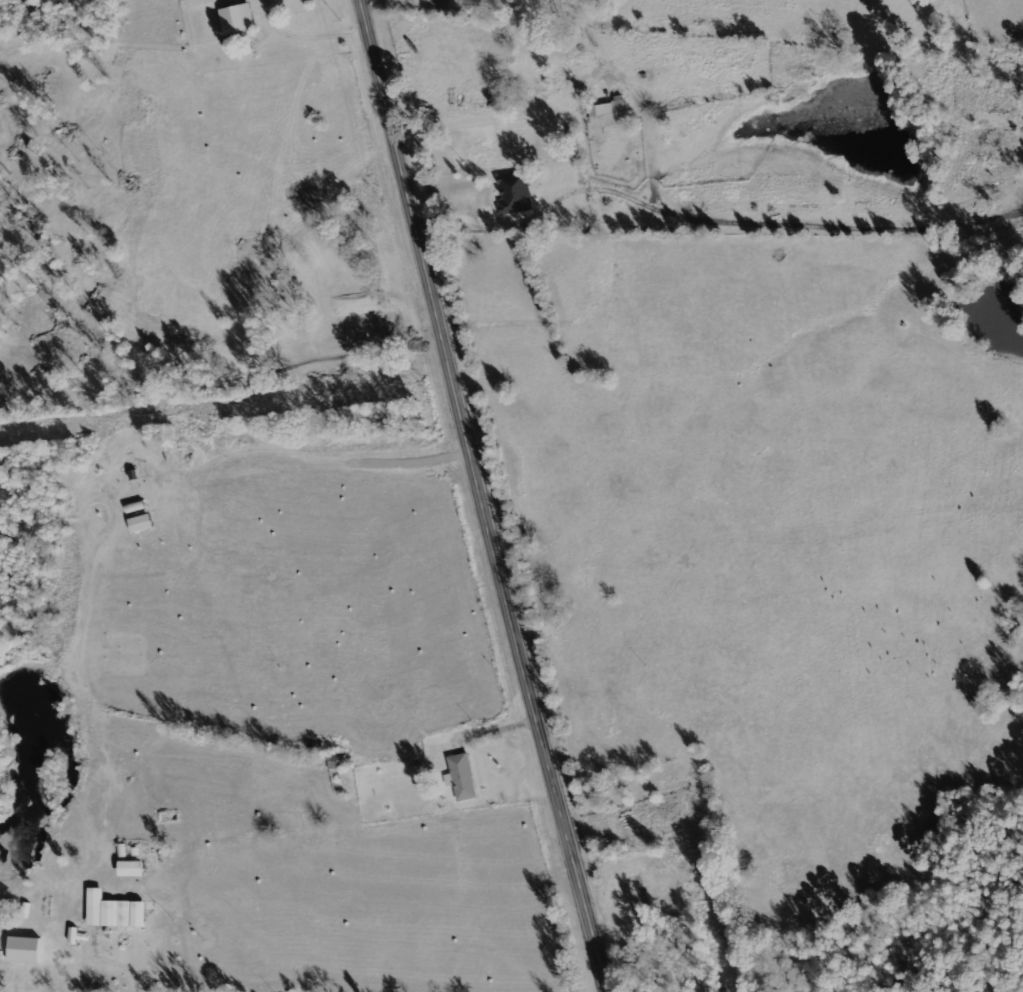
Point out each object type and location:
building: (237, 18)
building: (609, 114)
building: (514, 195)
road: (478, 498)
building: (461, 777)
building: (131, 868)
building: (113, 911)
building: (24, 949)

